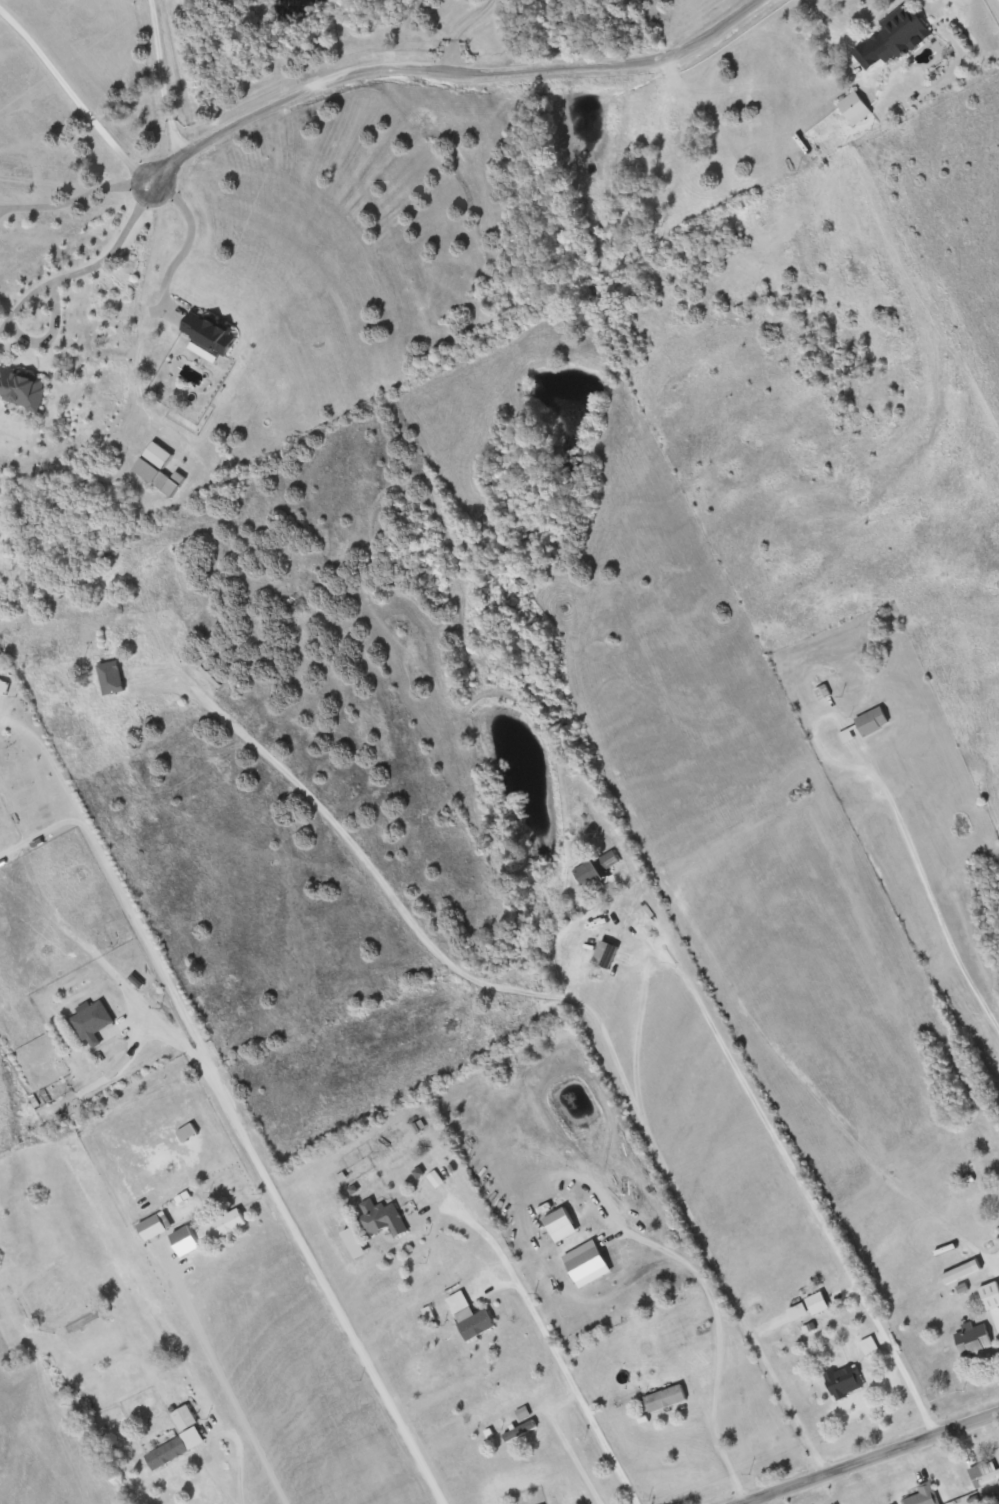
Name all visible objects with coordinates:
building: (903, 32)
road: (445, 66)
road: (78, 101)
building: (858, 107)
road: (90, 267)
building: (210, 332)
road: (49, 334)
building: (21, 386)
building: (159, 468)
building: (92, 630)
building: (0, 650)
building: (822, 691)
building: (873, 720)
building: (595, 868)
road: (972, 919)
building: (607, 954)
road: (577, 1004)
building: (93, 1020)
building: (997, 1215)
building: (382, 1218)
building: (223, 1225)
building: (153, 1227)
building: (188, 1236)
road: (998, 1263)
building: (990, 1295)
building: (809, 1306)
building: (471, 1315)
building: (974, 1338)
building: (845, 1380)
road: (571, 1384)
building: (665, 1398)
building: (180, 1439)
road: (876, 1456)
building: (984, 1473)
building: (924, 1495)

